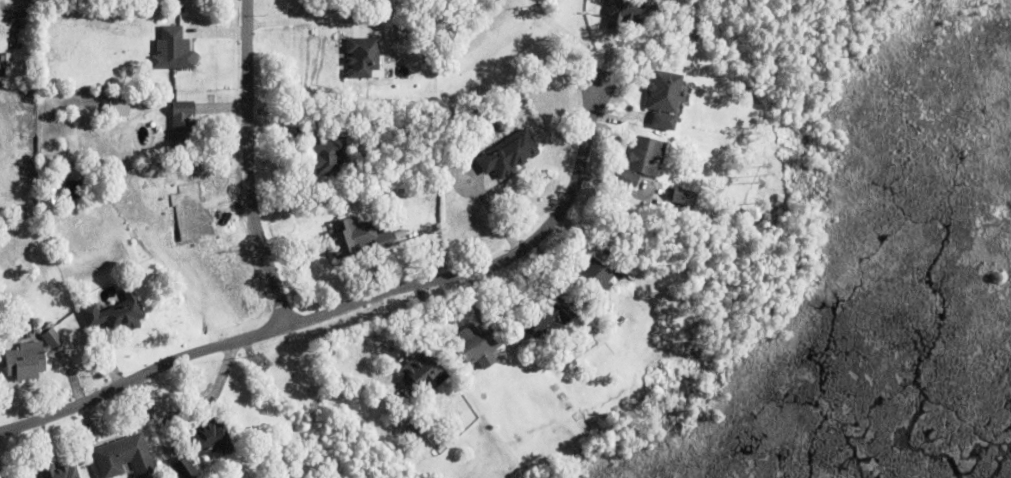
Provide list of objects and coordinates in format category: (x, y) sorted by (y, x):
building: (626, 13)
building: (427, 33)
road: (565, 35)
building: (172, 51)
building: (363, 59)
building: (663, 100)
building: (119, 111)
building: (486, 113)
building: (468, 118)
building: (498, 128)
building: (183, 129)
building: (508, 156)
building: (325, 157)
building: (461, 158)
building: (642, 162)
road: (249, 165)
building: (72, 189)
building: (682, 199)
building: (355, 244)
building: (592, 279)
road: (351, 304)
building: (115, 317)
building: (542, 322)
building: (28, 332)
building: (51, 339)
building: (477, 347)
building: (25, 362)
building: (419, 379)
building: (202, 446)
building: (124, 459)
building: (56, 472)

